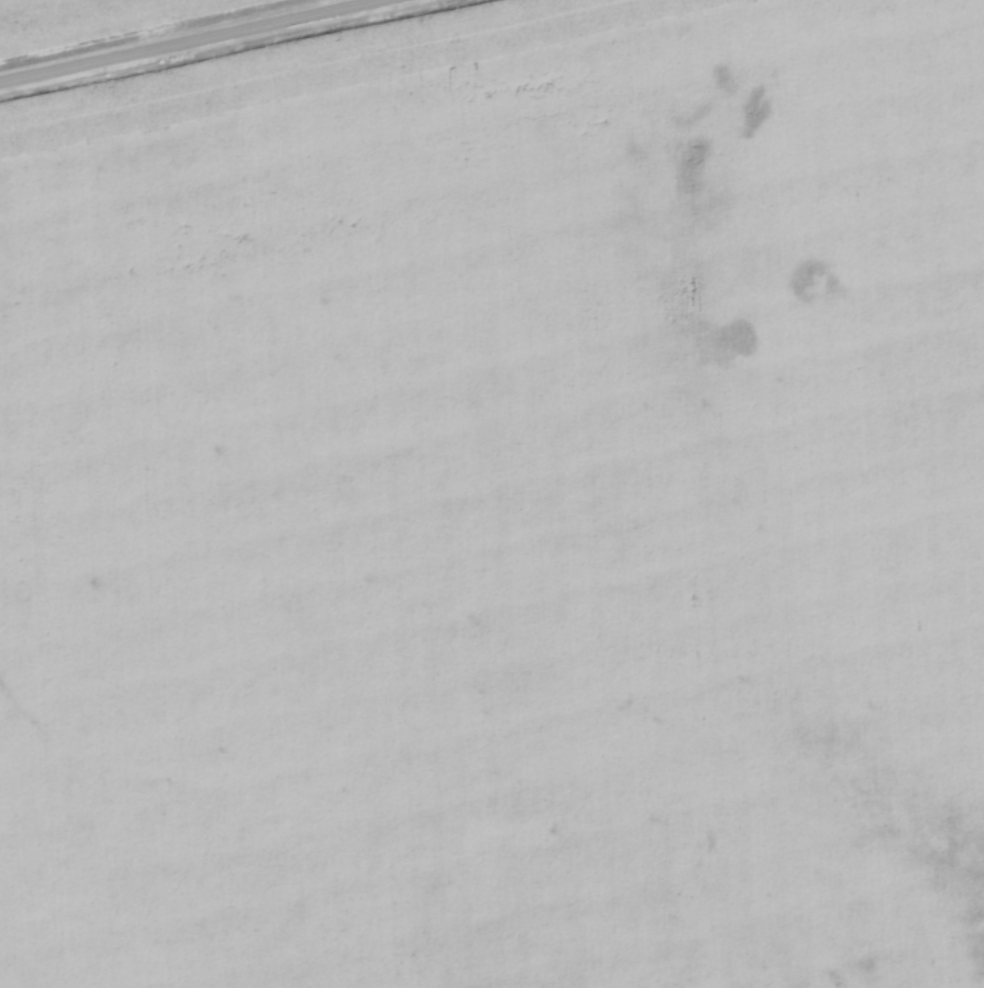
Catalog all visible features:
road: (198, 42)

